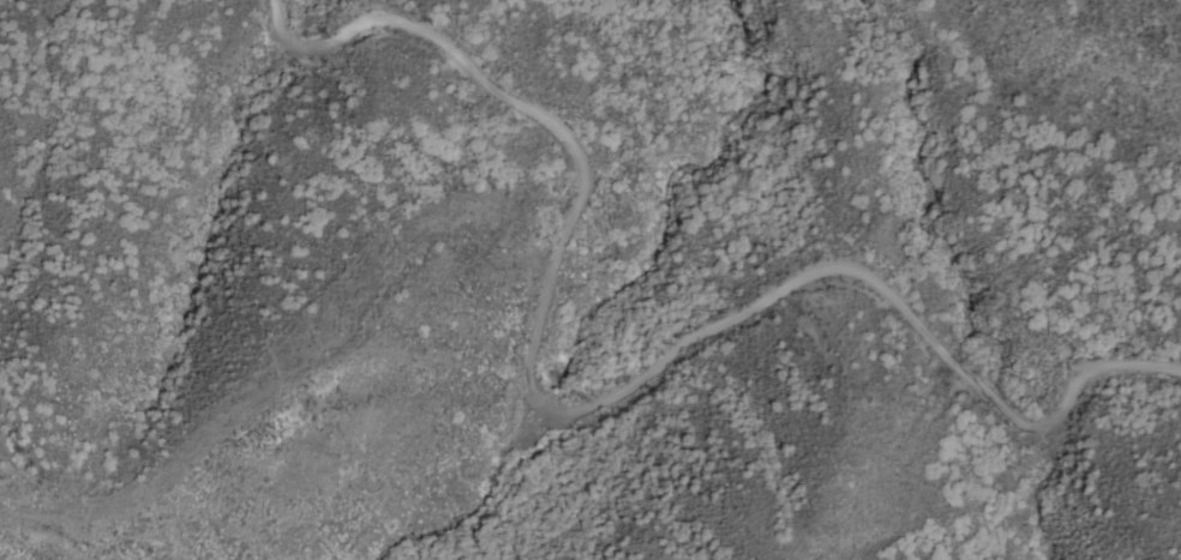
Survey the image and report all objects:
road: (578, 408)

